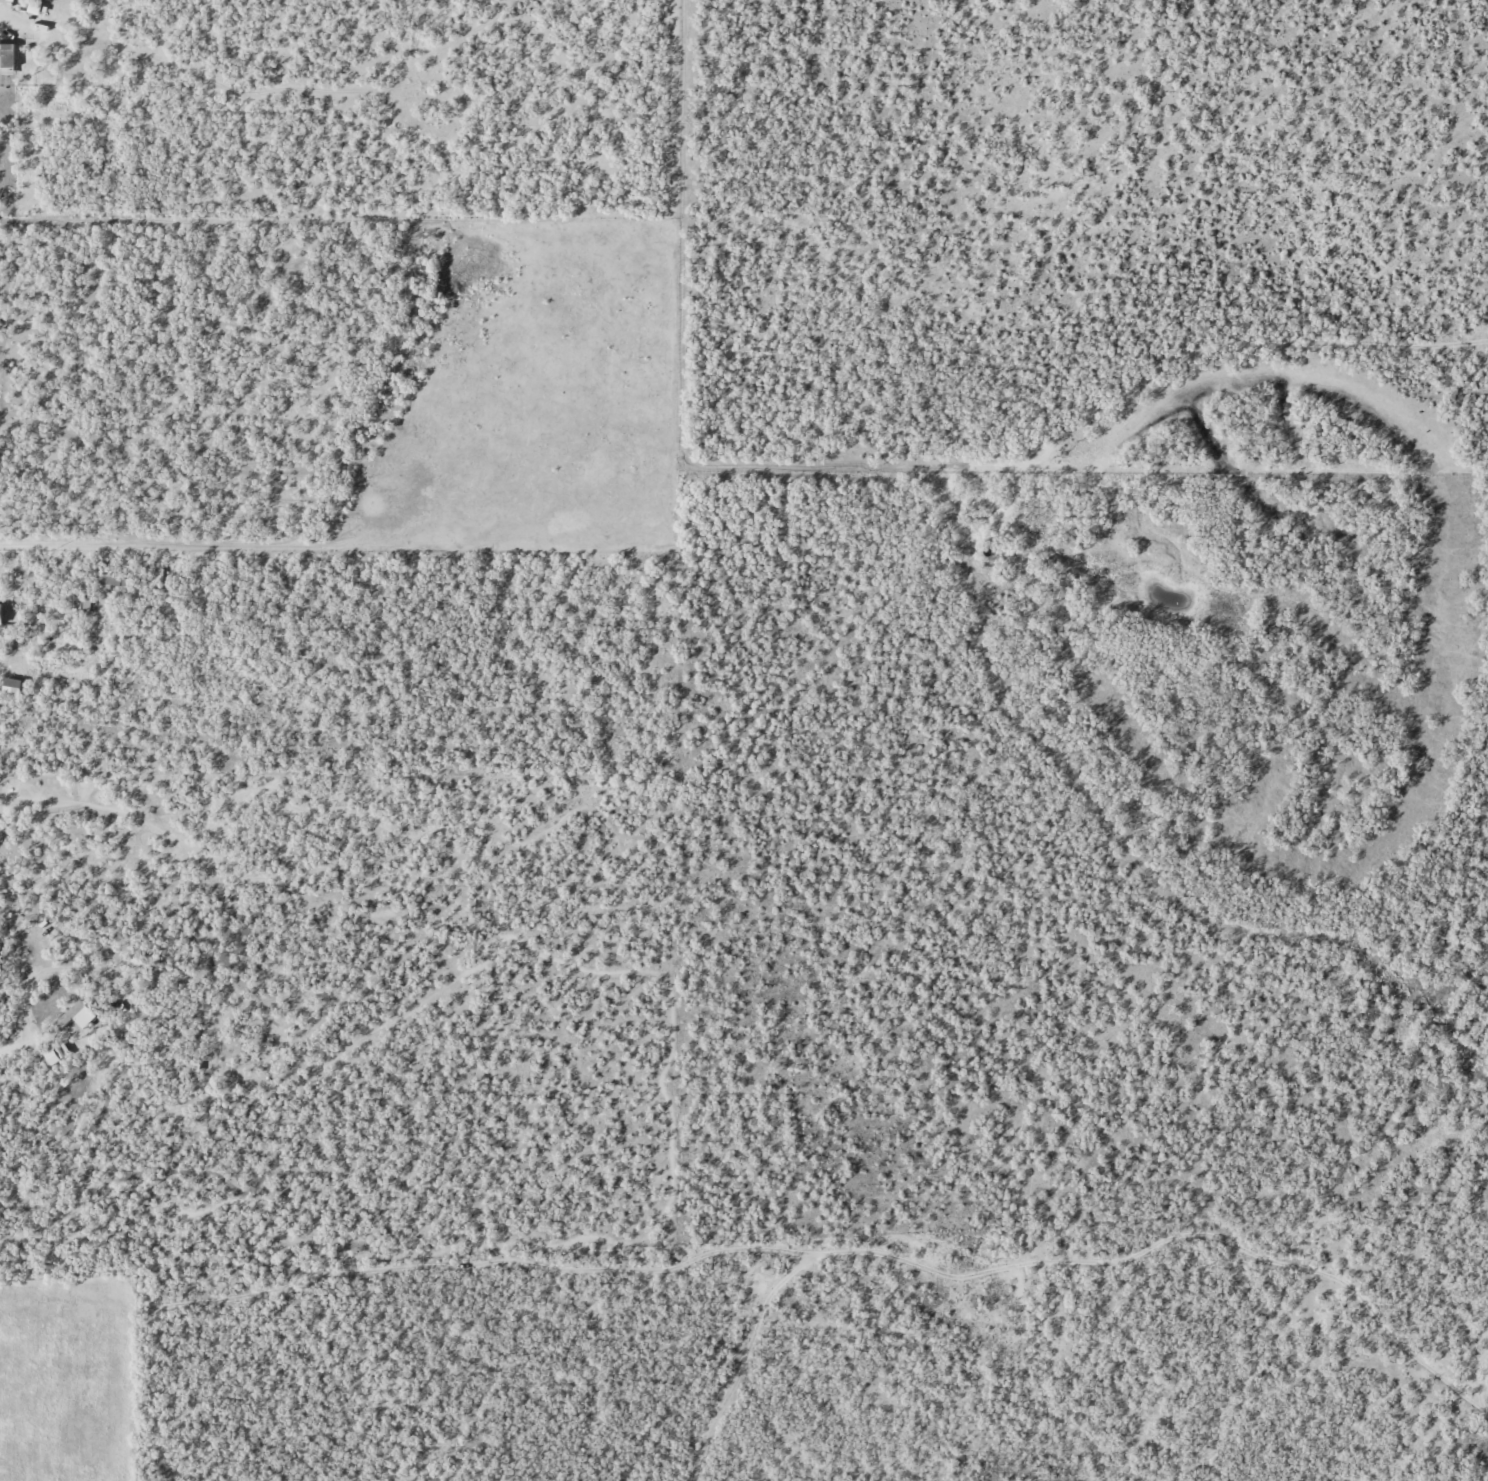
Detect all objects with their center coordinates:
building: (9, 0)
building: (26, 0)
building: (6, 59)
building: (157, 577)
building: (112, 580)
building: (79, 604)
building: (2, 613)
building: (9, 688)
building: (75, 1015)
building: (54, 1054)

